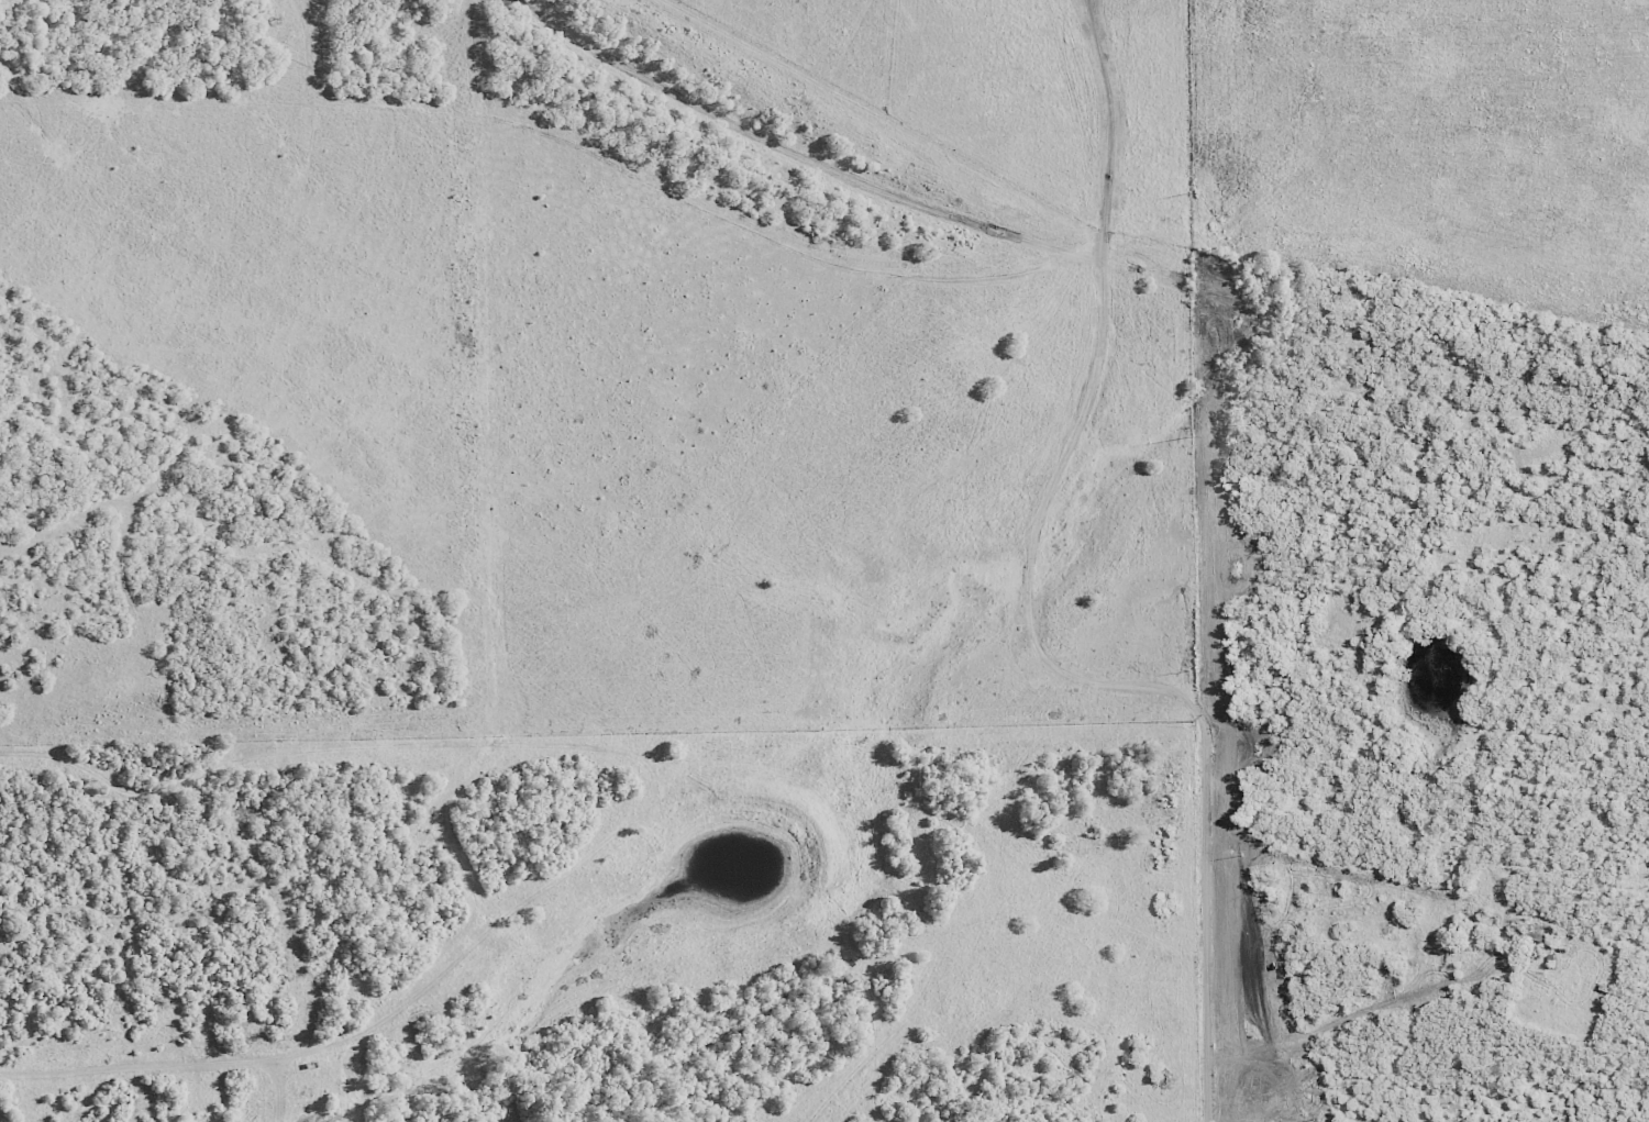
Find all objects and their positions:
road: (1051, 632)
road: (1270, 735)
road: (1431, 992)
road: (1512, 996)
road: (1554, 1021)
road: (1429, 1119)

